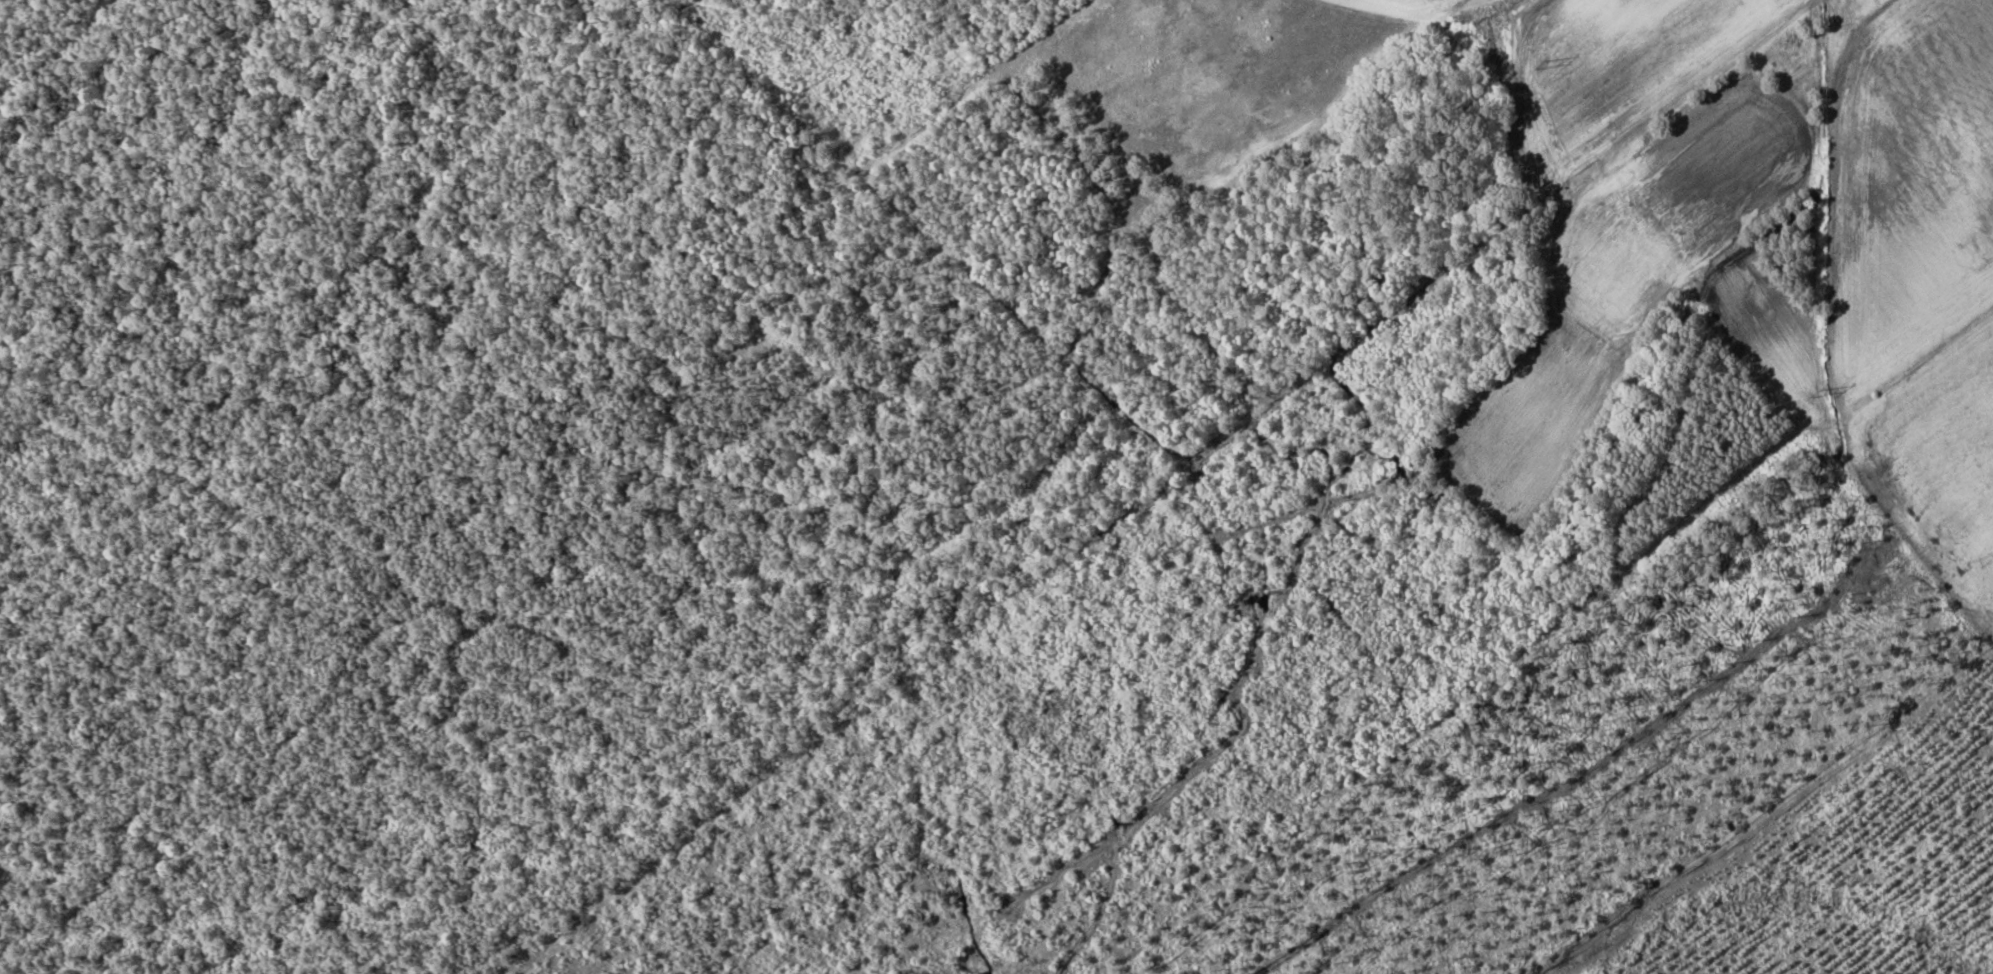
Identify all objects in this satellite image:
power tower: (1542, 66)
power tower: (1812, 391)

